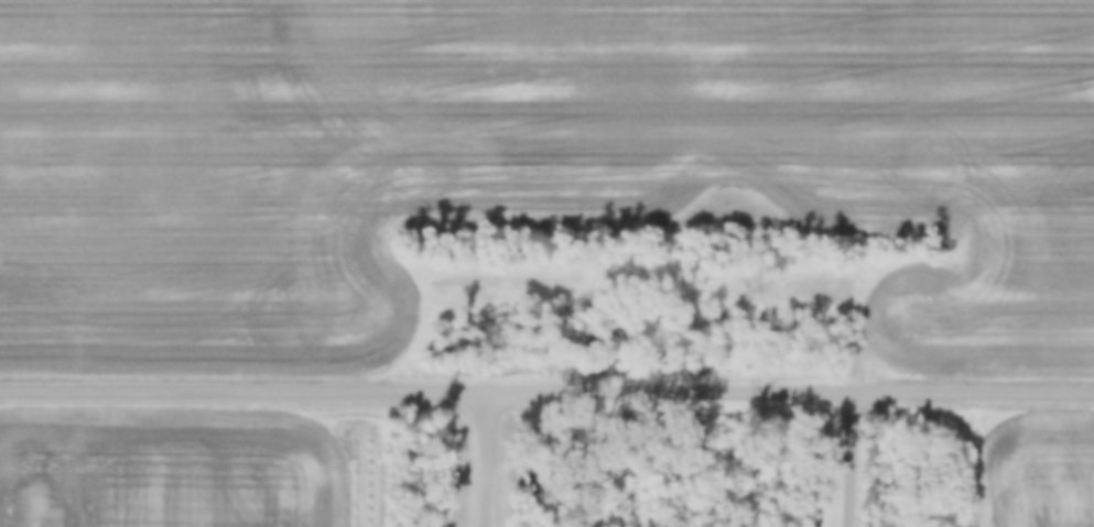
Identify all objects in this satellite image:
road: (546, 394)
road: (491, 460)
road: (845, 460)

